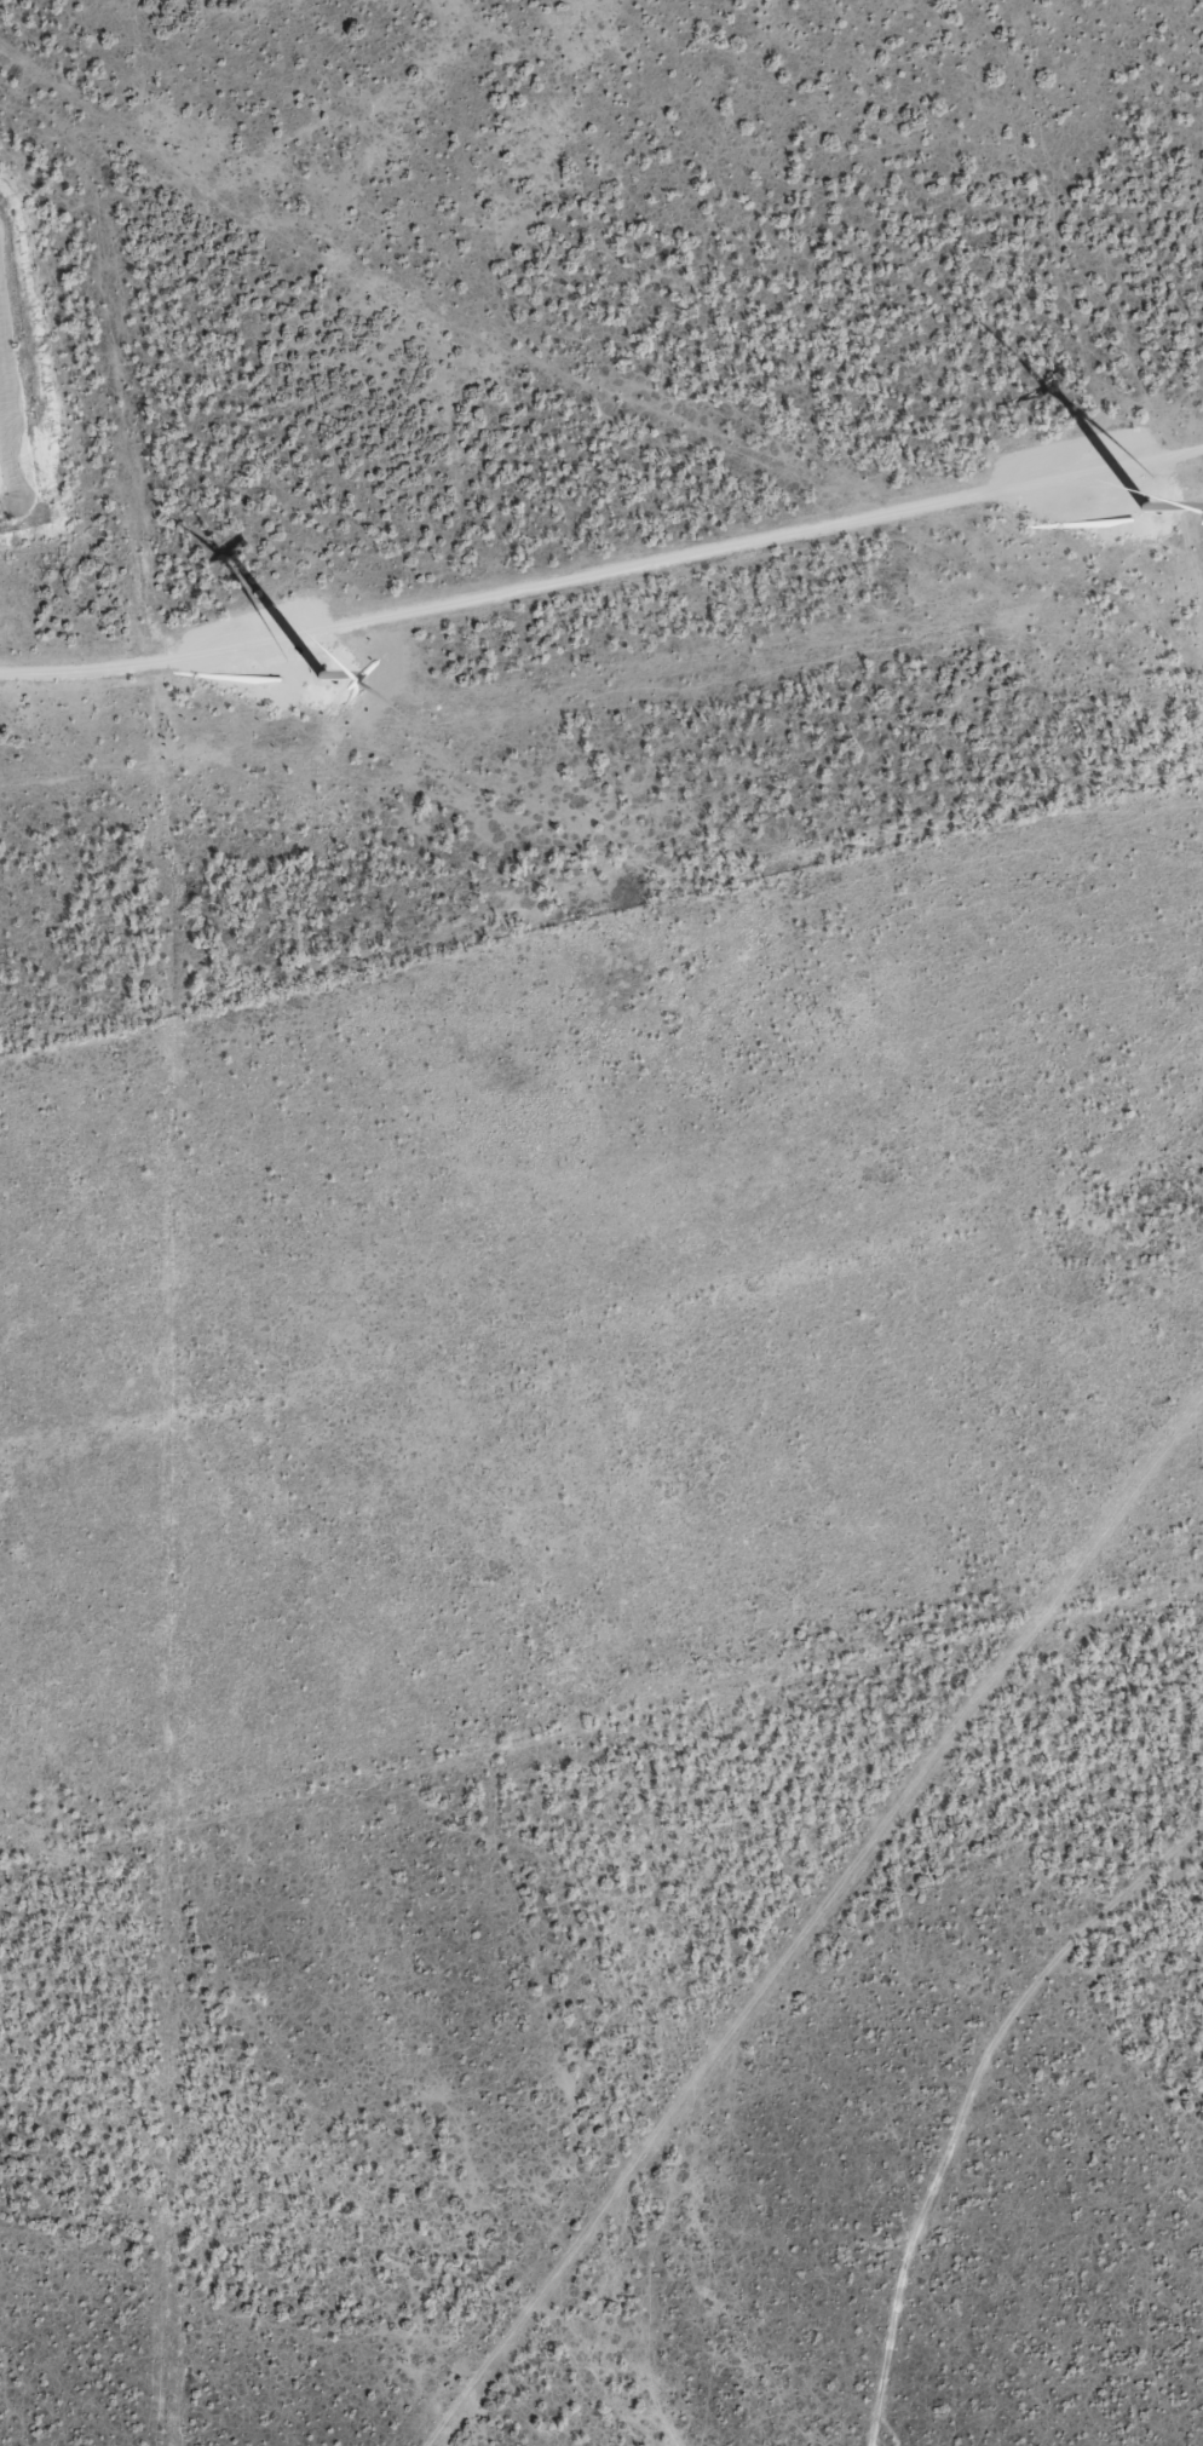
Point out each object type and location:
wind turbine: (1158, 490)
wind turbine: (299, 686)
road: (1017, 2187)

